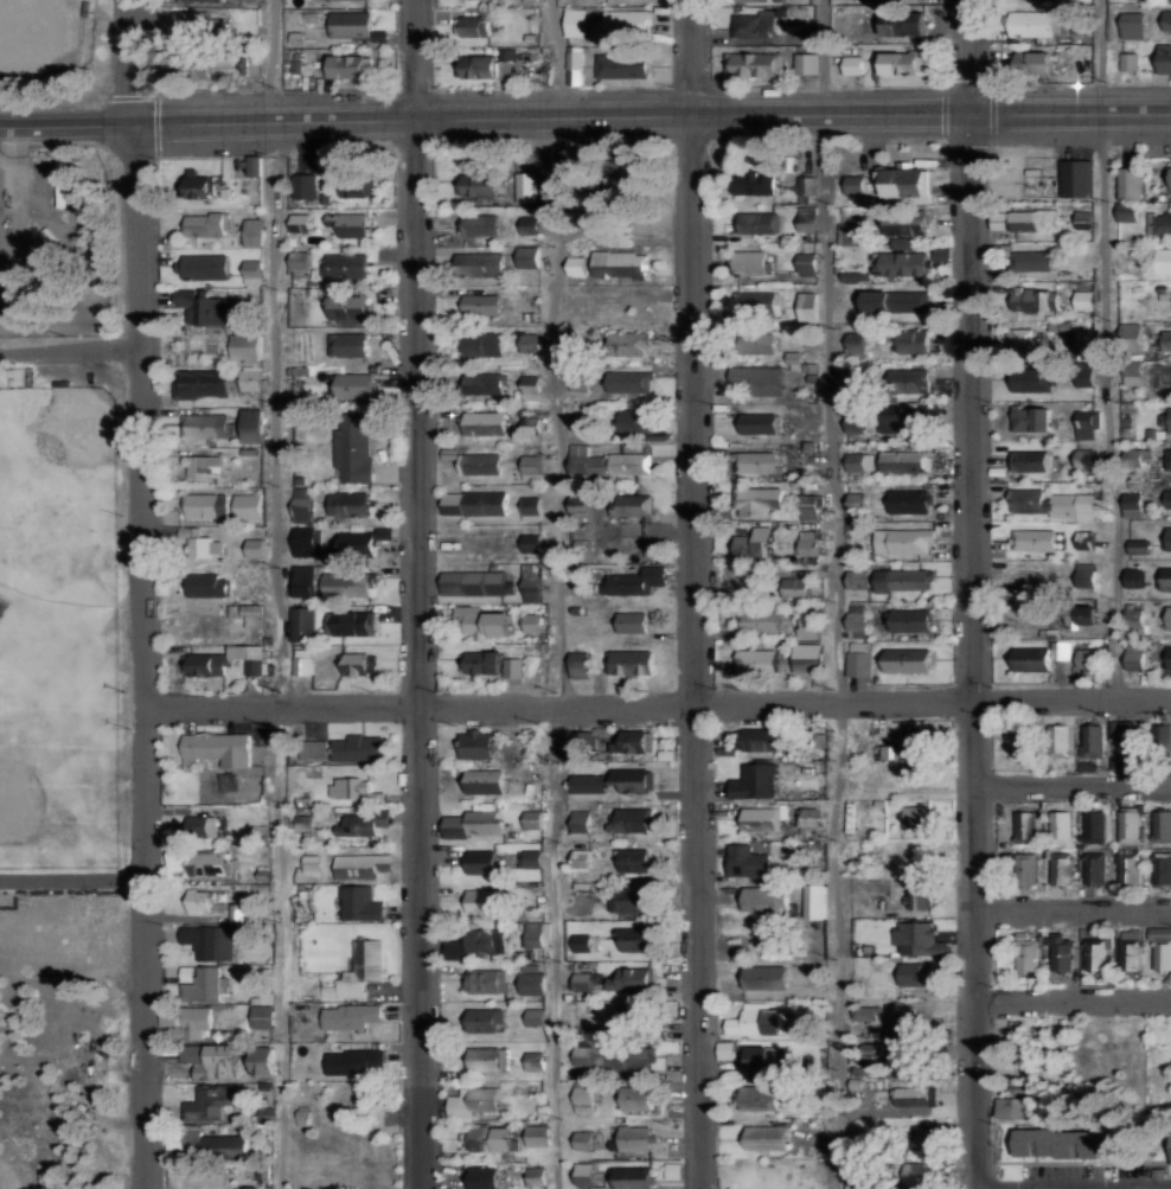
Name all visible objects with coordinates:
building: (206, 0)
building: (348, 0)
building: (753, 0)
building: (1166, 20)
building: (576, 23)
building: (751, 23)
building: (853, 23)
building: (1036, 24)
building: (198, 25)
building: (626, 25)
building: (906, 25)
building: (1132, 25)
building: (475, 26)
road: (968, 53)
road: (827, 55)
road: (269, 58)
building: (1165, 59)
building: (1130, 62)
building: (898, 63)
building: (1032, 63)
building: (806, 64)
building: (622, 65)
building: (754, 65)
building: (853, 65)
building: (348, 66)
building: (476, 66)
road: (584, 113)
building: (254, 165)
building: (1077, 178)
building: (906, 180)
building: (1169, 180)
building: (756, 181)
building: (853, 183)
building: (1130, 183)
building: (476, 184)
building: (305, 185)
building: (353, 185)
building: (199, 186)
building: (526, 186)
building: (805, 188)
building: (1127, 211)
building: (806, 218)
building: (1028, 219)
building: (300, 222)
building: (756, 222)
building: (350, 223)
building: (906, 223)
building: (1159, 223)
building: (205, 224)
building: (480, 224)
building: (529, 224)
building: (252, 231)
building: (852, 234)
building: (942, 252)
building: (527, 256)
building: (300, 260)
building: (1032, 260)
building: (1163, 260)
building: (749, 262)
building: (346, 263)
building: (481, 263)
building: (807, 263)
building: (902, 263)
building: (205, 266)
building: (576, 266)
building: (252, 270)
building: (853, 275)
building: (1039, 299)
building: (891, 300)
building: (481, 303)
building: (755, 303)
building: (201, 306)
building: (807, 306)
building: (347, 308)
building: (1133, 332)
building: (1024, 339)
building: (1166, 339)
building: (913, 340)
building: (762, 341)
building: (530, 343)
building: (632, 343)
building: (855, 343)
building: (348, 344)
building: (248, 345)
building: (484, 345)
road: (1113, 347)
road: (70, 354)
building: (757, 378)
building: (251, 379)
building: (578, 379)
building: (910, 379)
building: (1032, 379)
building: (629, 381)
building: (1162, 381)
building: (484, 382)
building: (201, 383)
building: (356, 385)
building: (530, 386)
building: (1031, 417)
building: (856, 418)
building: (1169, 418)
building: (636, 420)
building: (904, 421)
building: (485, 422)
building: (759, 422)
building: (1087, 422)
building: (206, 424)
building: (251, 424)
building: (1138, 453)
building: (1084, 458)
building: (1167, 458)
building: (859, 460)
building: (1031, 460)
building: (757, 461)
building: (903, 461)
building: (479, 462)
building: (603, 462)
building: (203, 465)
building: (531, 466)
building: (1167, 498)
building: (760, 499)
building: (909, 501)
building: (350, 503)
building: (475, 503)
building: (1052, 503)
building: (578, 504)
building: (632, 504)
building: (1133, 504)
building: (808, 505)
building: (248, 506)
building: (531, 507)
building: (301, 509)
building: (303, 539)
building: (808, 539)
building: (903, 539)
building: (1034, 539)
building: (1167, 539)
building: (531, 542)
building: (193, 543)
building: (363, 543)
building: (1138, 545)
building: (755, 546)
building: (255, 548)
building: (1087, 574)
building: (903, 577)
building: (1135, 577)
building: (1165, 577)
building: (857, 578)
building: (302, 581)
building: (634, 581)
building: (474, 582)
building: (531, 582)
building: (346, 583)
building: (209, 586)
building: (795, 587)
road: (141, 594)
road: (420, 594)
road: (553, 594)
road: (695, 594)
building: (248, 613)
building: (1083, 614)
building: (1170, 616)
building: (910, 620)
building: (1134, 620)
building: (482, 621)
building: (633, 621)
building: (757, 621)
building: (350, 622)
building: (532, 622)
park: (60, 624)
building: (301, 624)
building: (856, 624)
building: (810, 625)
road: (838, 648)
road: (973, 648)
road: (281, 653)
building: (1041, 656)
building: (807, 657)
building: (859, 658)
building: (908, 659)
building: (1135, 659)
building: (225, 660)
building: (756, 660)
building: (1166, 660)
building: (302, 661)
building: (631, 661)
building: (1088, 661)
building: (358, 663)
building: (488, 663)
building: (580, 664)
road: (657, 698)
building: (1162, 737)
building: (760, 740)
building: (1125, 740)
building: (638, 741)
building: (913, 741)
building: (1022, 742)
building: (475, 744)
building: (1092, 744)
building: (218, 747)
building: (358, 748)
building: (632, 779)
building: (754, 780)
building: (486, 781)
building: (588, 782)
road: (1073, 787)
building: (354, 791)
building: (917, 816)
building: (808, 817)
building: (532, 818)
building: (763, 818)
building: (629, 819)
building: (581, 820)
building: (476, 822)
building: (361, 823)
building: (1025, 825)
building: (1162, 825)
building: (201, 826)
building: (1061, 826)
building: (1093, 826)
building: (1128, 826)
building: (581, 857)
building: (531, 858)
building: (634, 859)
building: (201, 861)
building: (481, 861)
building: (748, 861)
building: (311, 863)
building: (361, 865)
building: (1025, 868)
building: (1060, 868)
building: (1094, 868)
building: (1128, 868)
building: (1162, 869)
road: (72, 881)
building: (919, 896)
building: (767, 899)
building: (200, 900)
building: (631, 900)
building: (482, 901)
building: (814, 901)
building: (360, 903)
road: (1073, 904)
building: (536, 933)
building: (634, 939)
building: (916, 939)
building: (487, 940)
building: (209, 941)
building: (582, 942)
building: (1160, 947)
building: (456, 948)
building: (1130, 950)
building: (1062, 952)
building: (1026, 954)
building: (1095, 955)
building: (359, 970)
building: (914, 973)
building: (763, 977)
building: (532, 979)
building: (203, 980)
building: (484, 980)
building: (614, 980)
road: (1075, 996)
building: (865, 1014)
building: (351, 1016)
building: (535, 1016)
building: (263, 1017)
building: (636, 1018)
building: (482, 1021)
building: (756, 1021)
building: (192, 1023)
building: (723, 1049)
building: (913, 1056)
building: (612, 1057)
building: (485, 1059)
building: (763, 1059)
building: (211, 1060)
building: (535, 1060)
building: (263, 1061)
building: (354, 1061)
building: (582, 1095)
building: (913, 1095)
building: (756, 1097)
building: (638, 1098)
building: (209, 1101)
building: (473, 1101)
building: (1025, 1107)
building: (537, 1134)
building: (926, 1136)
building: (634, 1137)
building: (766, 1137)
building: (488, 1138)
building: (583, 1139)
building: (1058, 1143)
building: (224, 1145)
building: (583, 1172)
building: (920, 1174)
building: (536, 1176)
building: (632, 1176)
building: (484, 1177)
building: (250, 1188)

